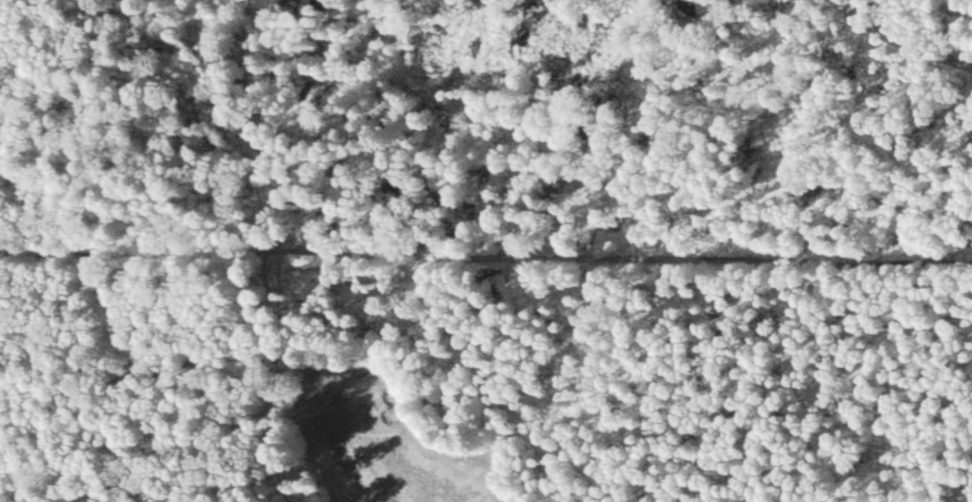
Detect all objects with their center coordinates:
road: (486, 252)
park: (387, 428)

